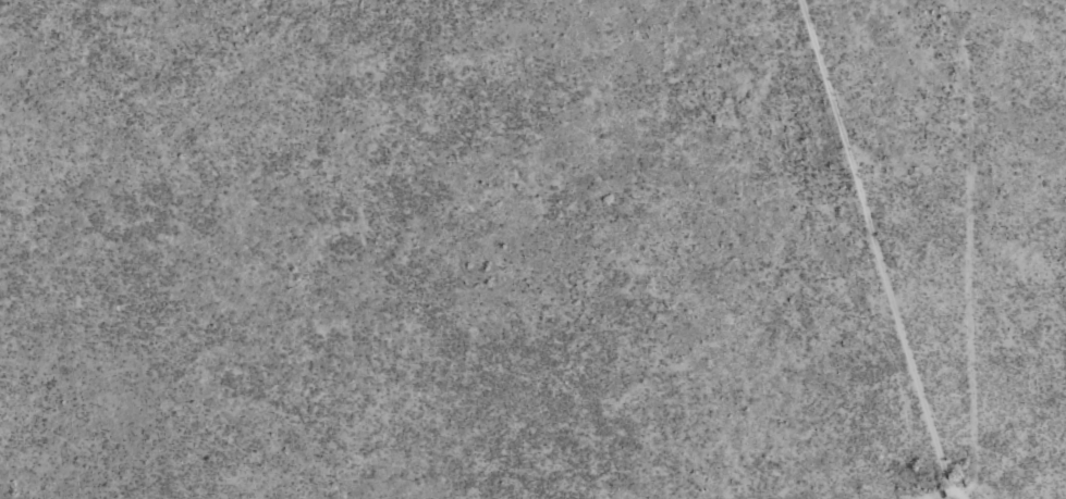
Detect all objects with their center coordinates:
road: (830, 249)

